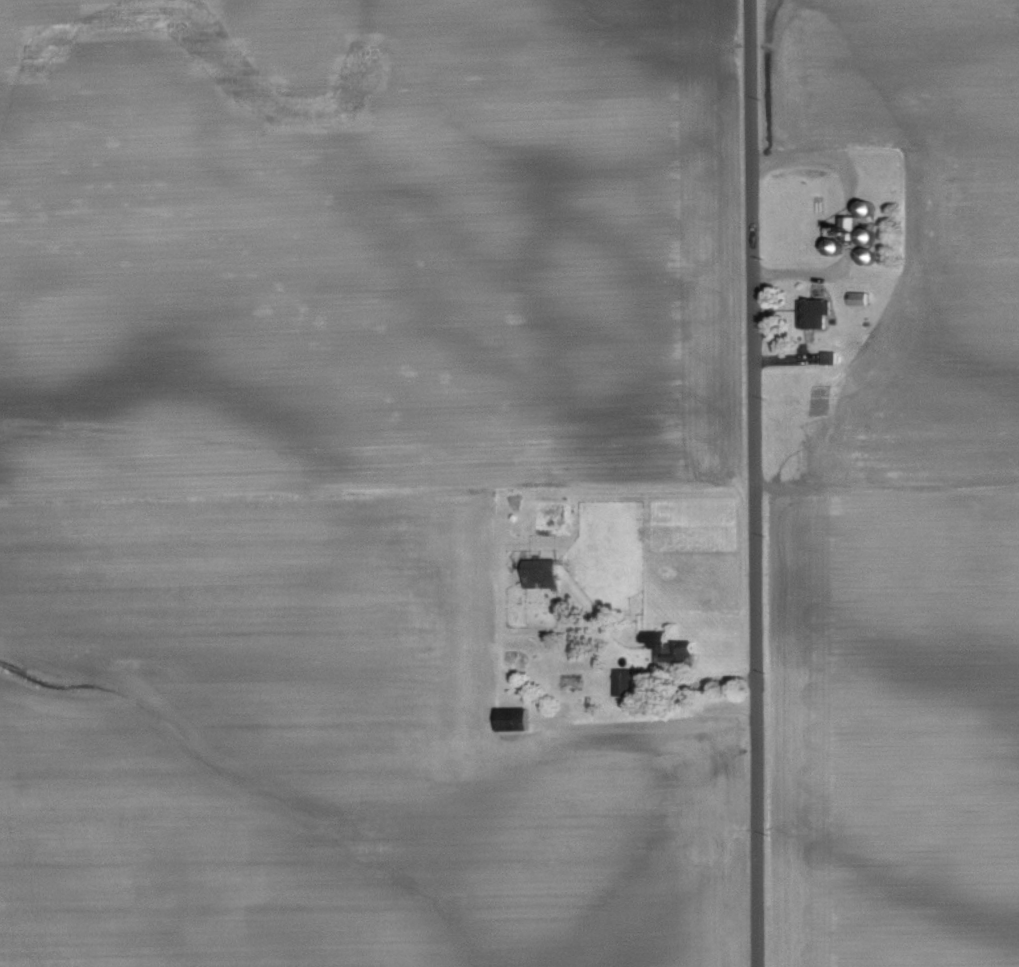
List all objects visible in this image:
road: (814, 161)
road: (800, 273)
building: (818, 312)
building: (831, 357)
road: (753, 483)
building: (546, 573)
road: (700, 681)
building: (627, 682)

